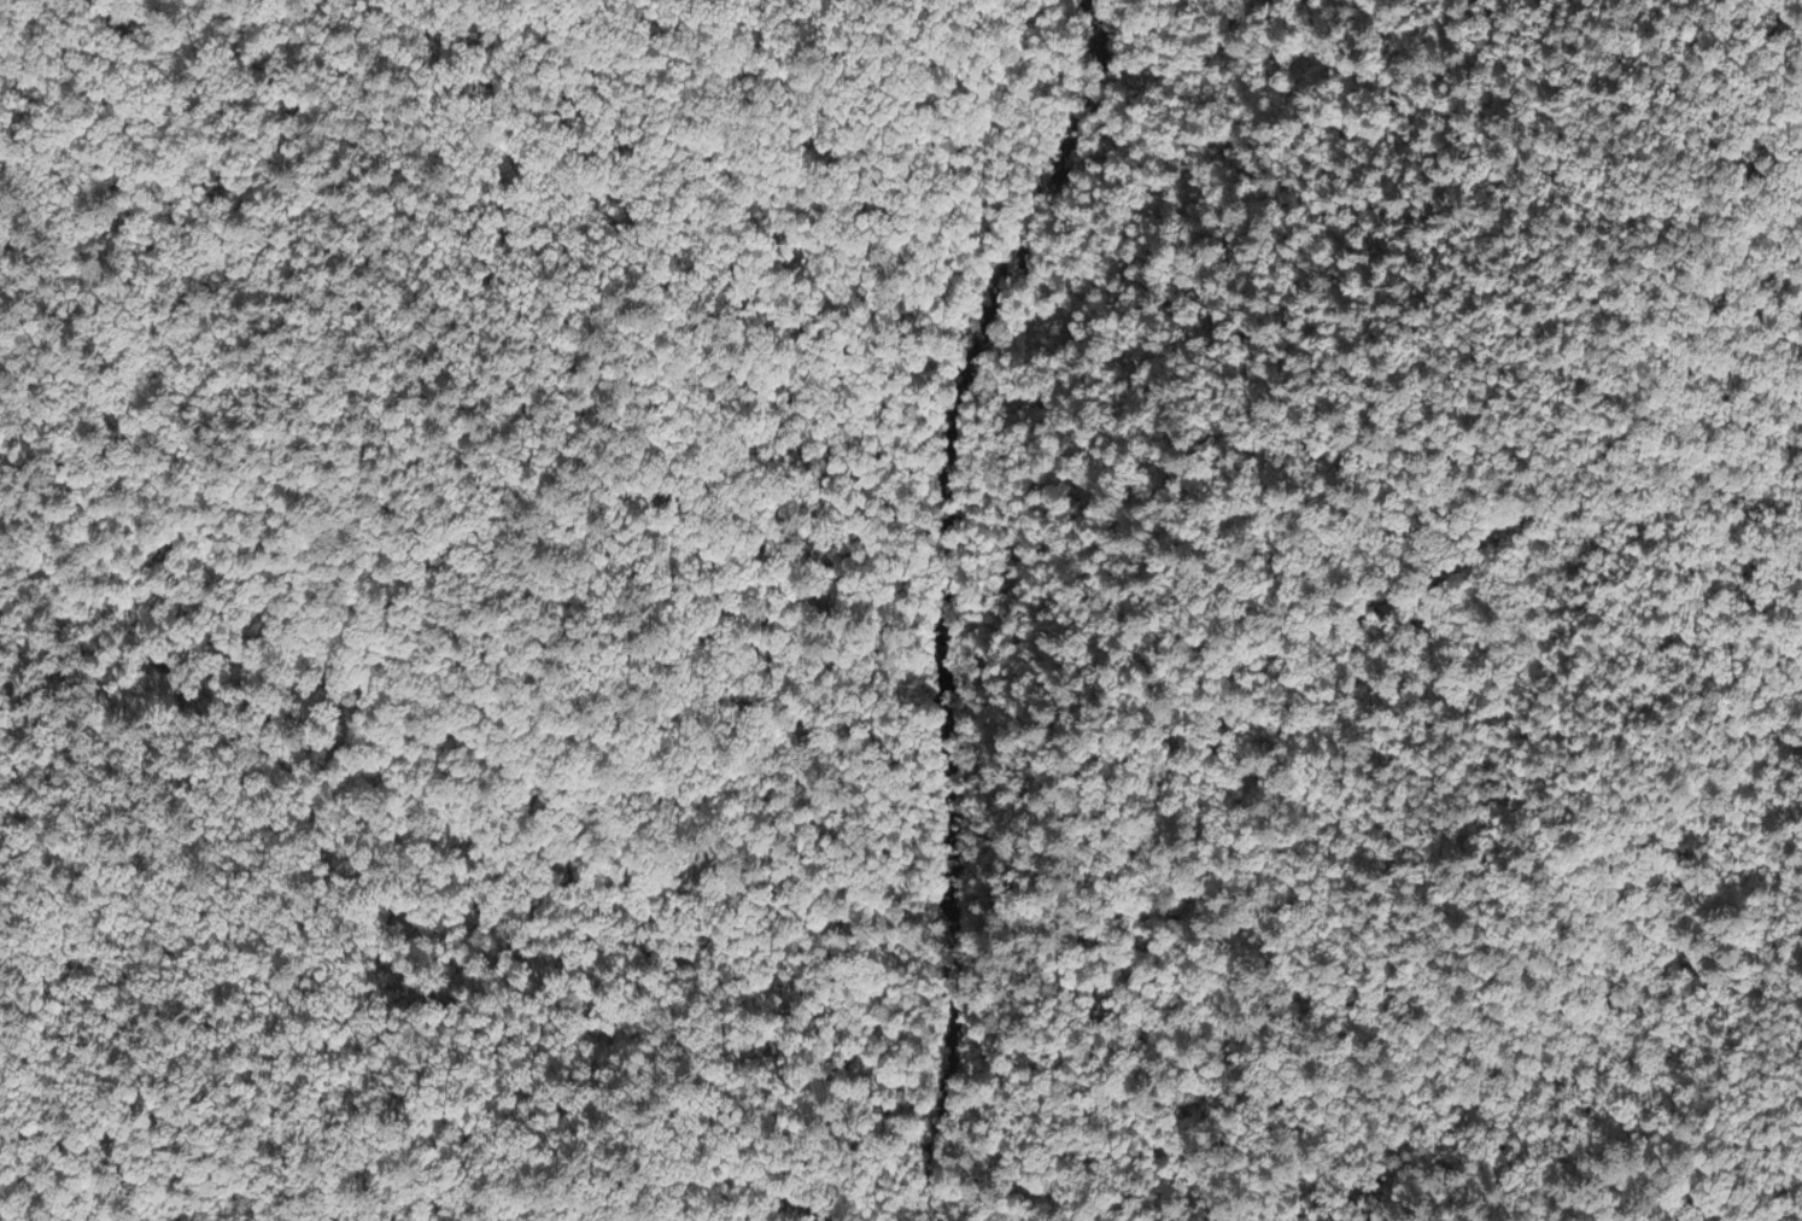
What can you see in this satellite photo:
river: (946, 596)
road: (884, 608)

